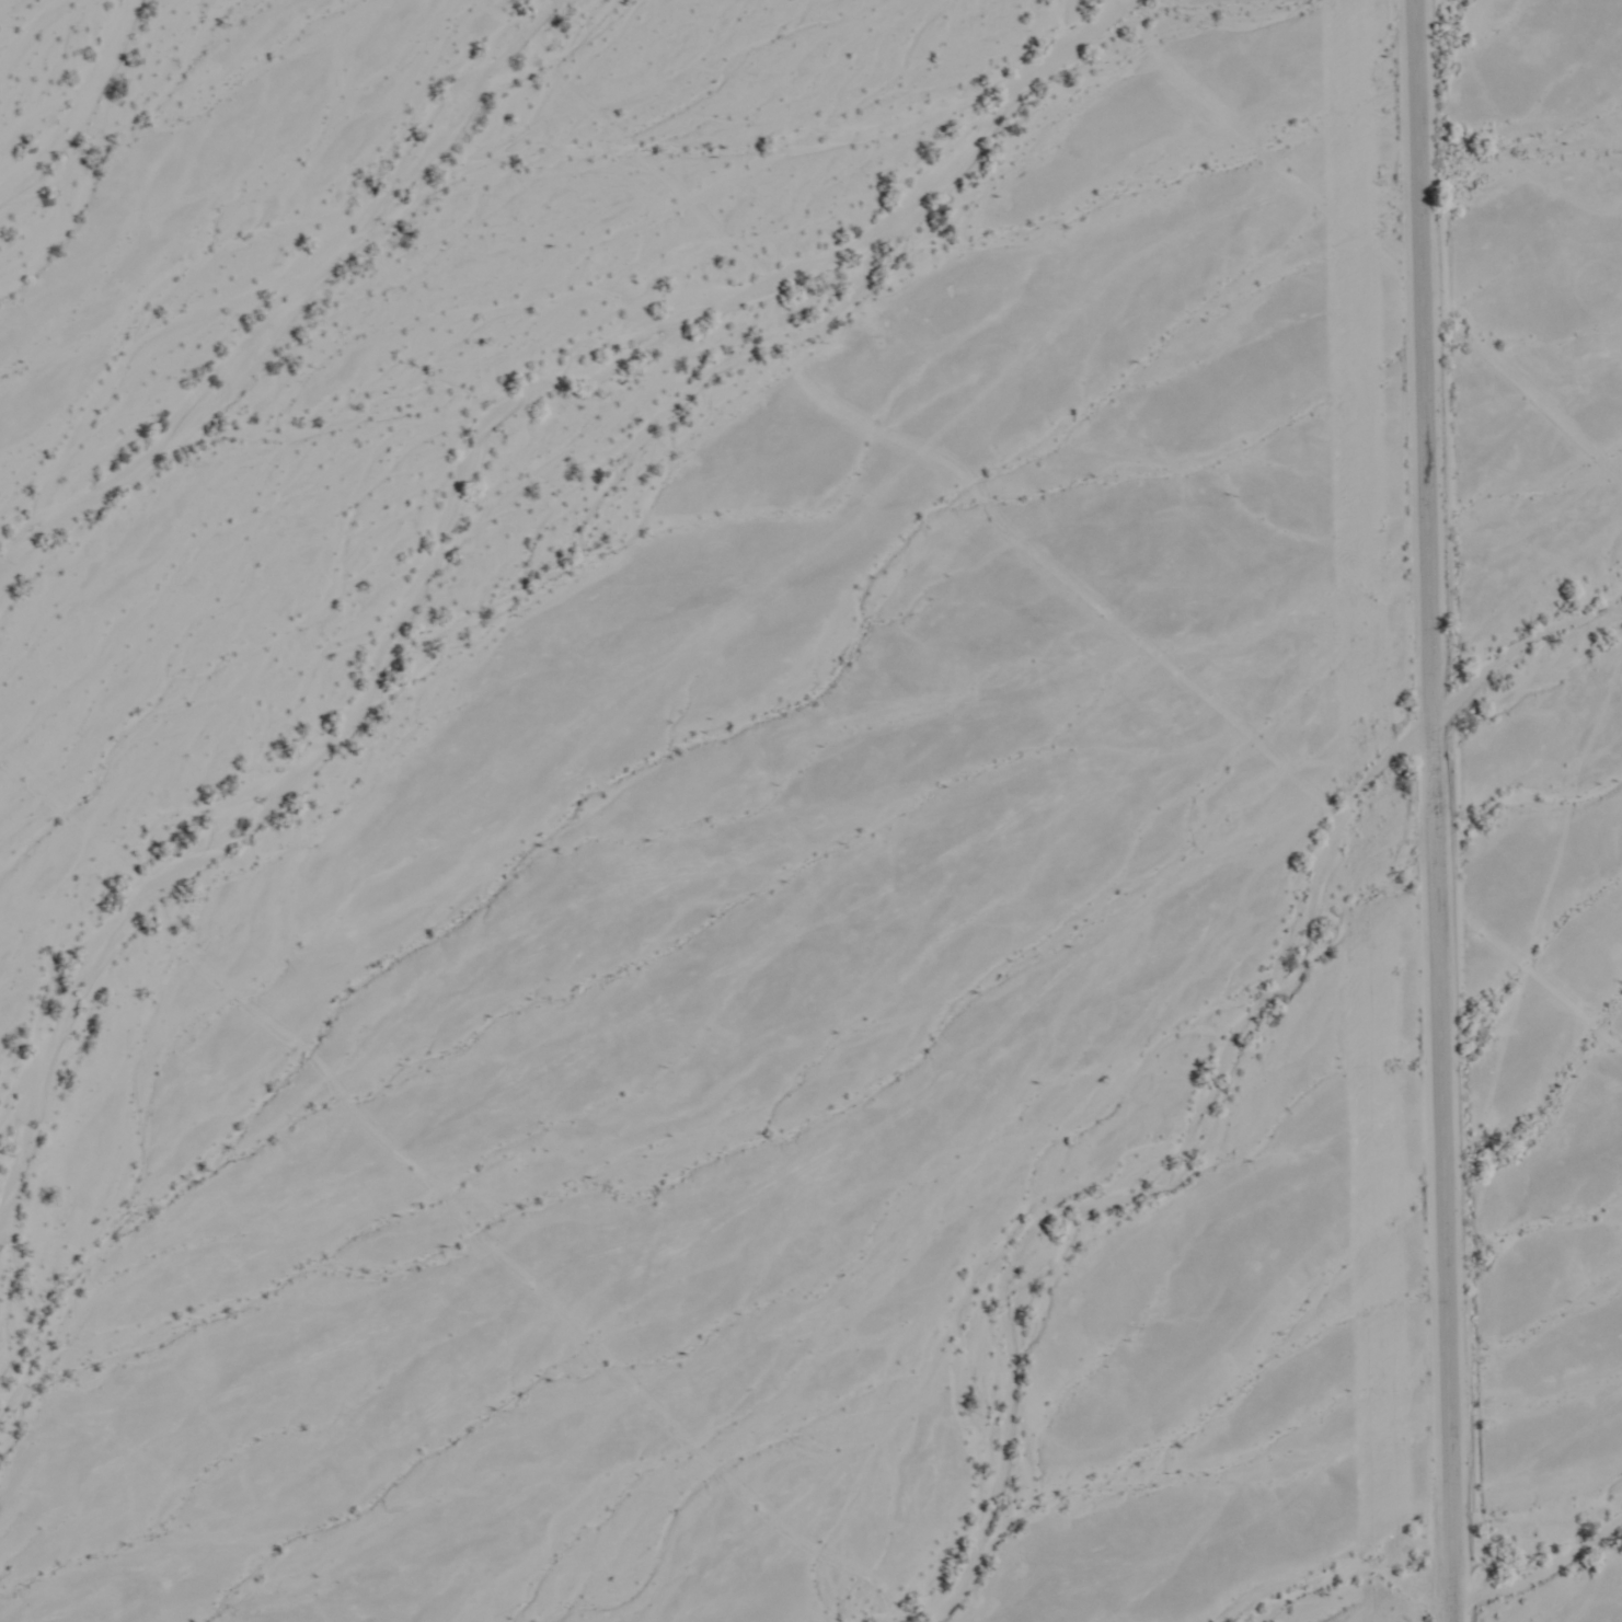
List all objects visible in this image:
road: (1436, 810)

